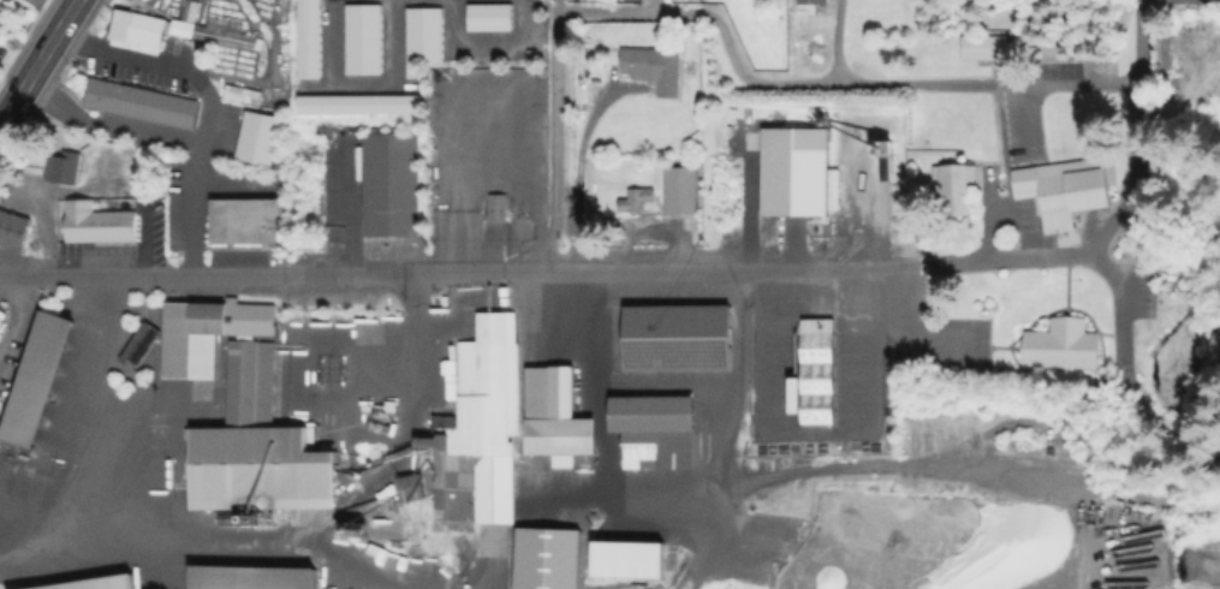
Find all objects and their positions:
road: (1142, 0)
building: (31, 1)
building: (810, 5)
building: (493, 18)
road: (85, 24)
building: (173, 31)
building: (425, 36)
road: (835, 36)
building: (311, 38)
building: (365, 40)
building: (988, 49)
road: (38, 64)
building: (655, 67)
road: (774, 72)
road: (1118, 76)
building: (244, 95)
building: (137, 105)
building: (361, 105)
road: (204, 131)
road: (557, 136)
building: (255, 141)
building: (60, 168)
building: (795, 172)
building: (388, 188)
building: (682, 190)
building: (1057, 190)
building: (951, 191)
building: (637, 200)
building: (499, 209)
building: (248, 221)
building: (101, 224)
building: (12, 231)
road: (1061, 240)
road: (691, 270)
road: (278, 273)
building: (1, 314)
road: (13, 315)
building: (0, 325)
building: (195, 338)
building: (680, 339)
road: (926, 339)
building: (143, 345)
building: (1063, 345)
building: (1212, 355)
building: (252, 367)
building: (817, 373)
road: (669, 380)
building: (32, 381)
road: (734, 398)
building: (558, 418)
building: (476, 429)
road: (820, 430)
building: (657, 432)
road: (95, 438)
road: (607, 460)
road: (895, 464)
building: (263, 470)
building: (412, 487)
building: (544, 558)
building: (631, 561)
building: (248, 579)
building: (95, 585)

